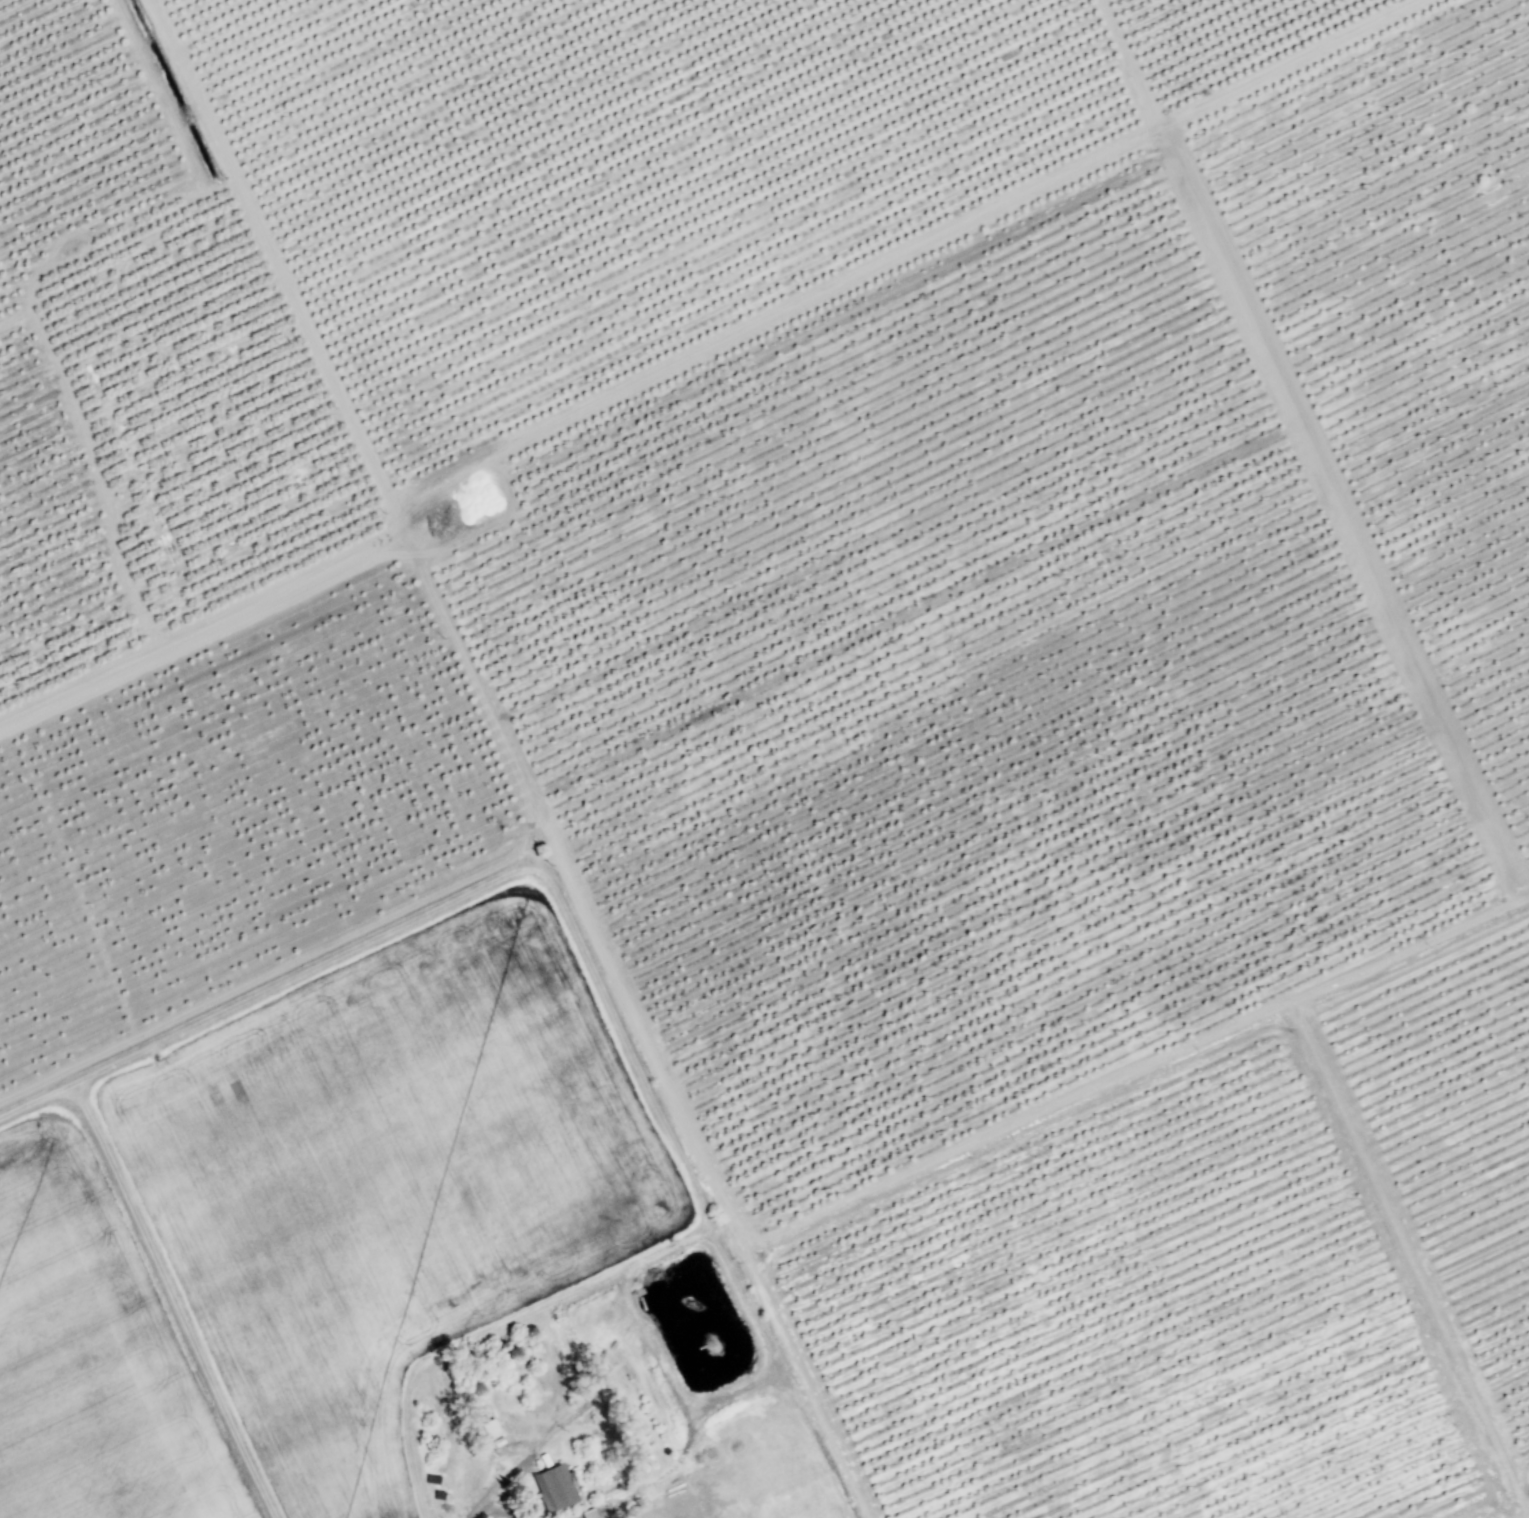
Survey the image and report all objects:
road: (1136, 65)
road: (285, 292)
road: (712, 358)
road: (613, 978)
road: (648, 1261)
road: (525, 1462)
building: (552, 1488)

